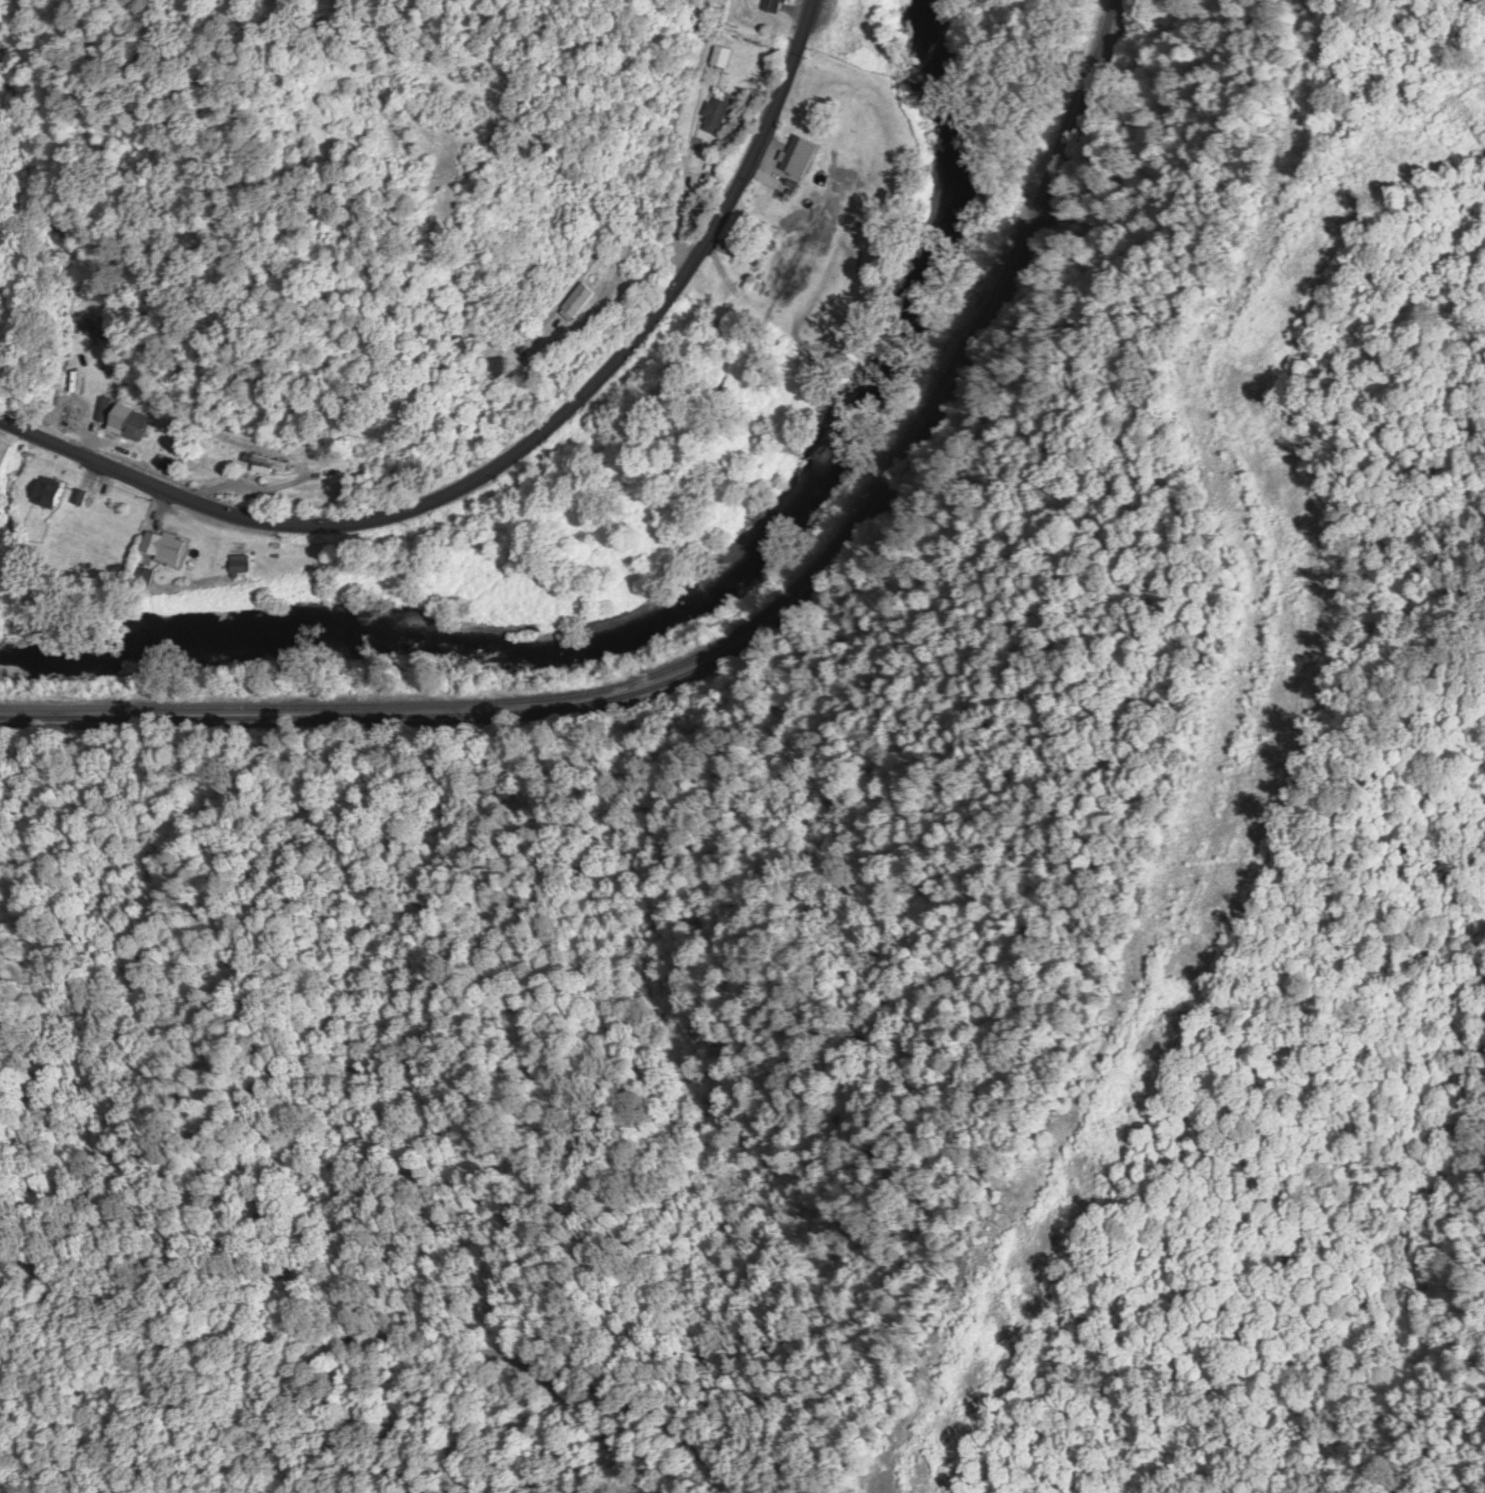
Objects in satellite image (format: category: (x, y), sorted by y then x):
building: (767, 5)
building: (718, 54)
building: (712, 114)
building: (299, 149)
building: (792, 153)
building: (573, 298)
building: (461, 337)
building: (490, 365)
building: (101, 406)
building: (132, 423)
road: (512, 450)
building: (266, 460)
building: (43, 491)
building: (76, 495)
building: (159, 545)
building: (235, 561)
river: (685, 599)
railway: (730, 624)
road: (280, 1374)
road: (304, 1411)

